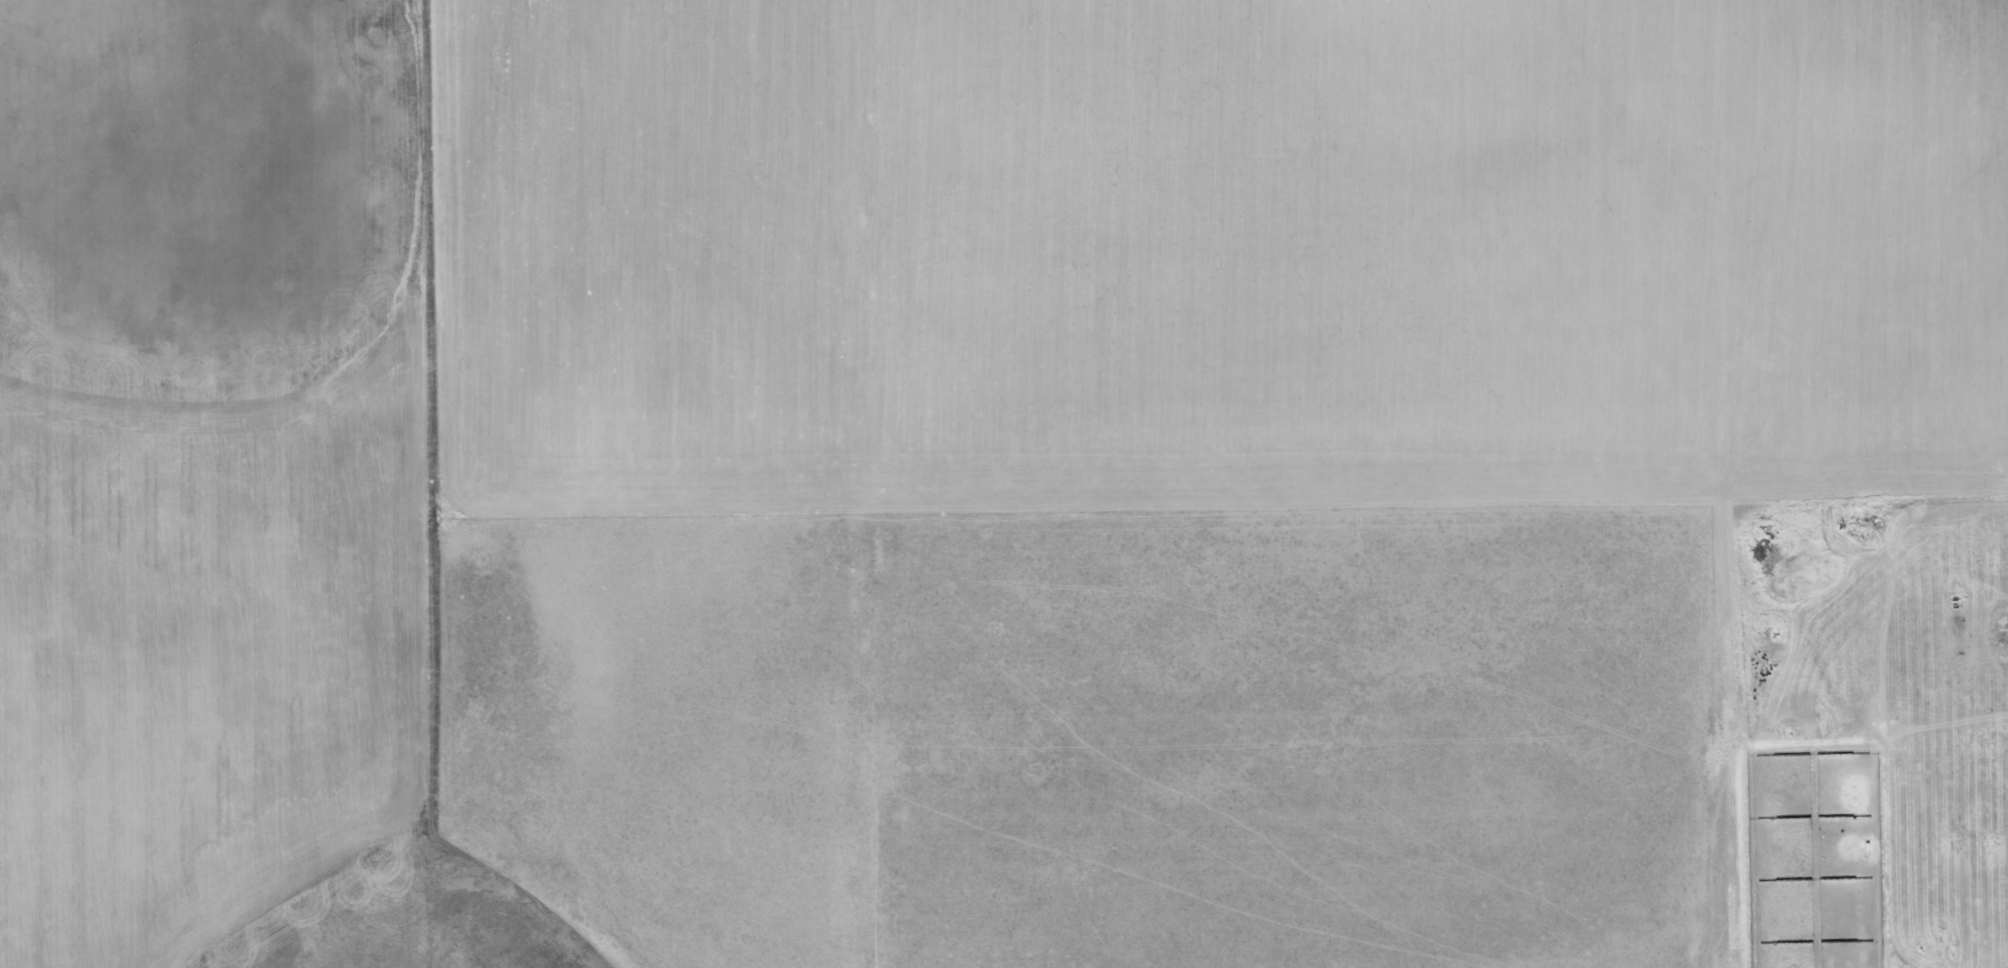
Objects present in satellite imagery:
road: (864, 484)

